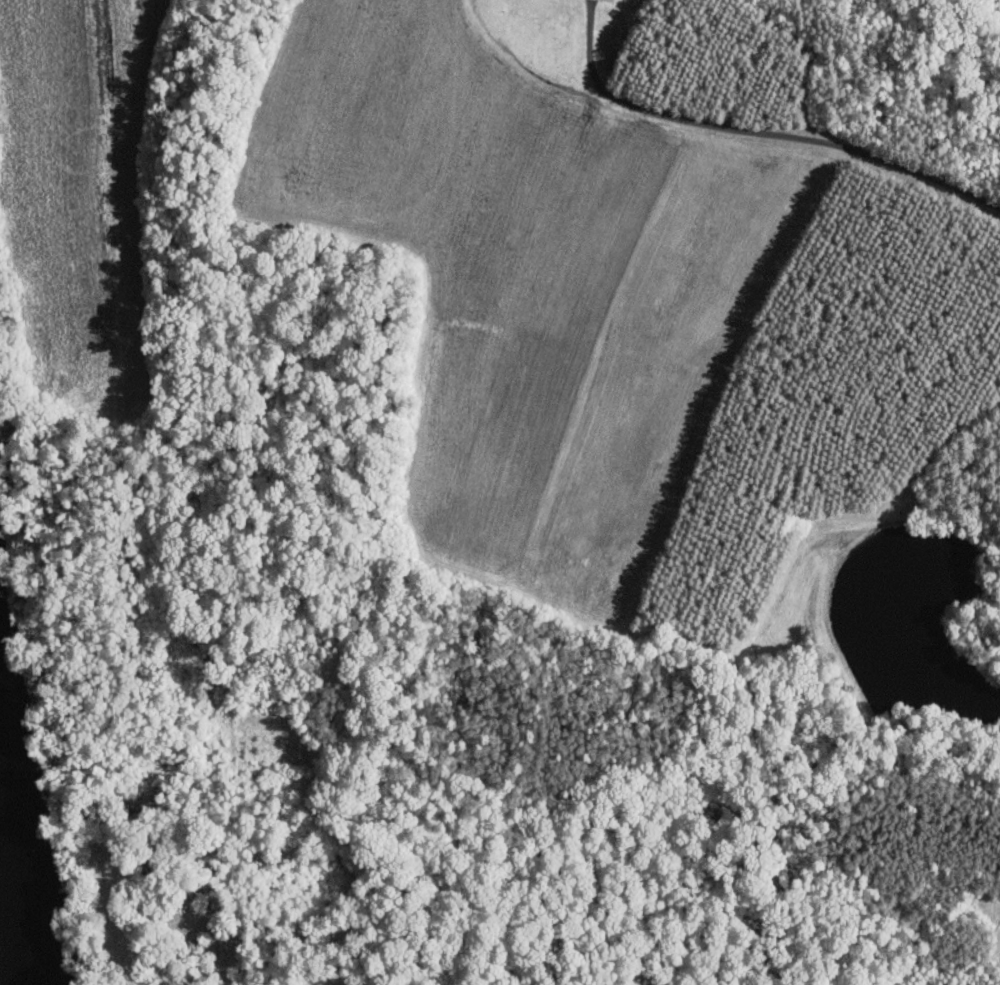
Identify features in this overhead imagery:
road: (759, 131)
river: (18, 893)

